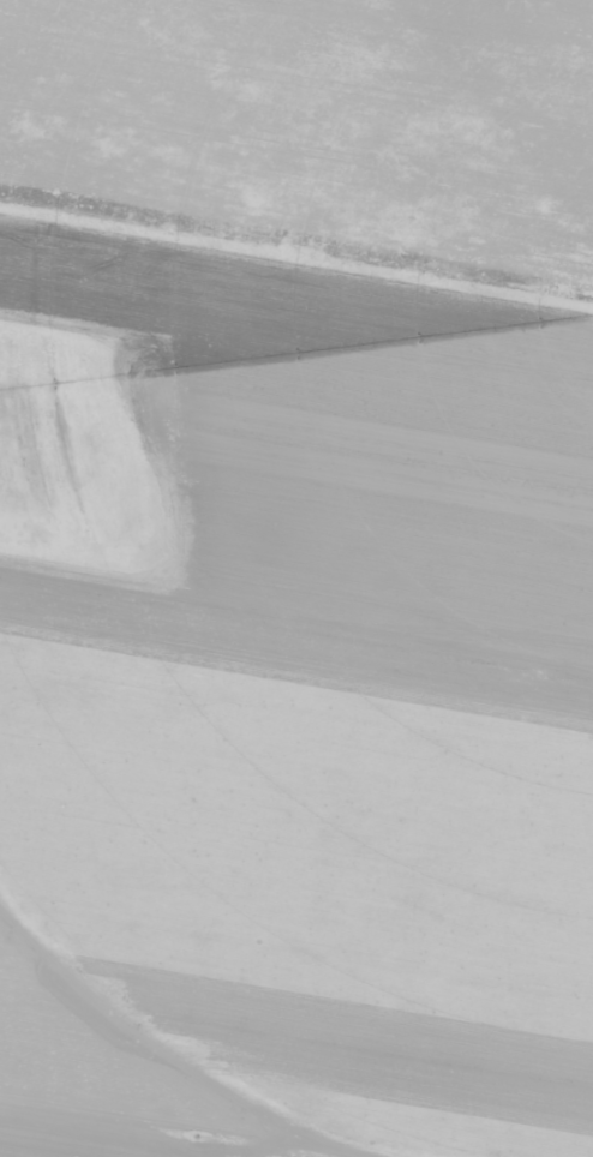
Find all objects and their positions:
road: (49, 1149)

